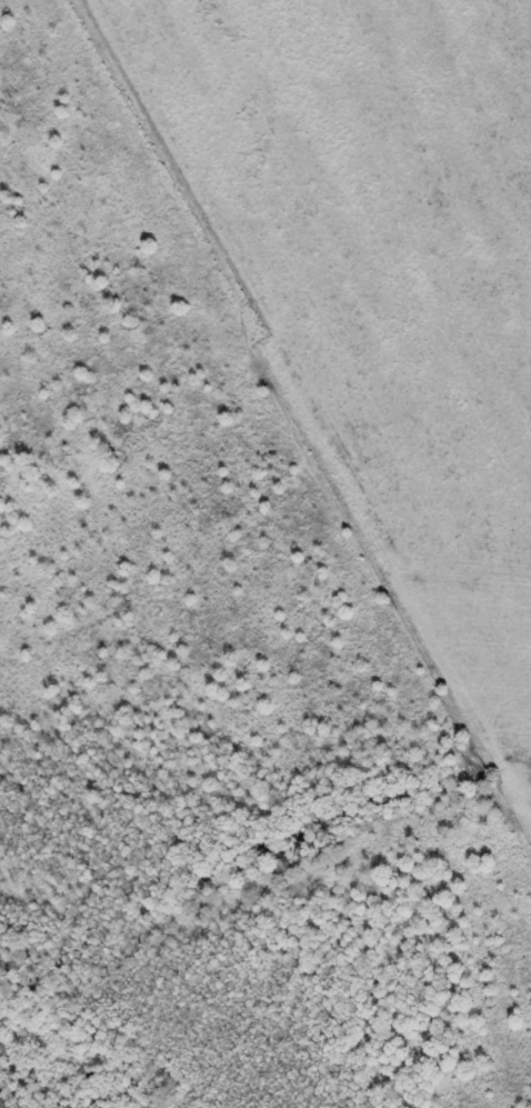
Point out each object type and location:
road: (303, 409)

